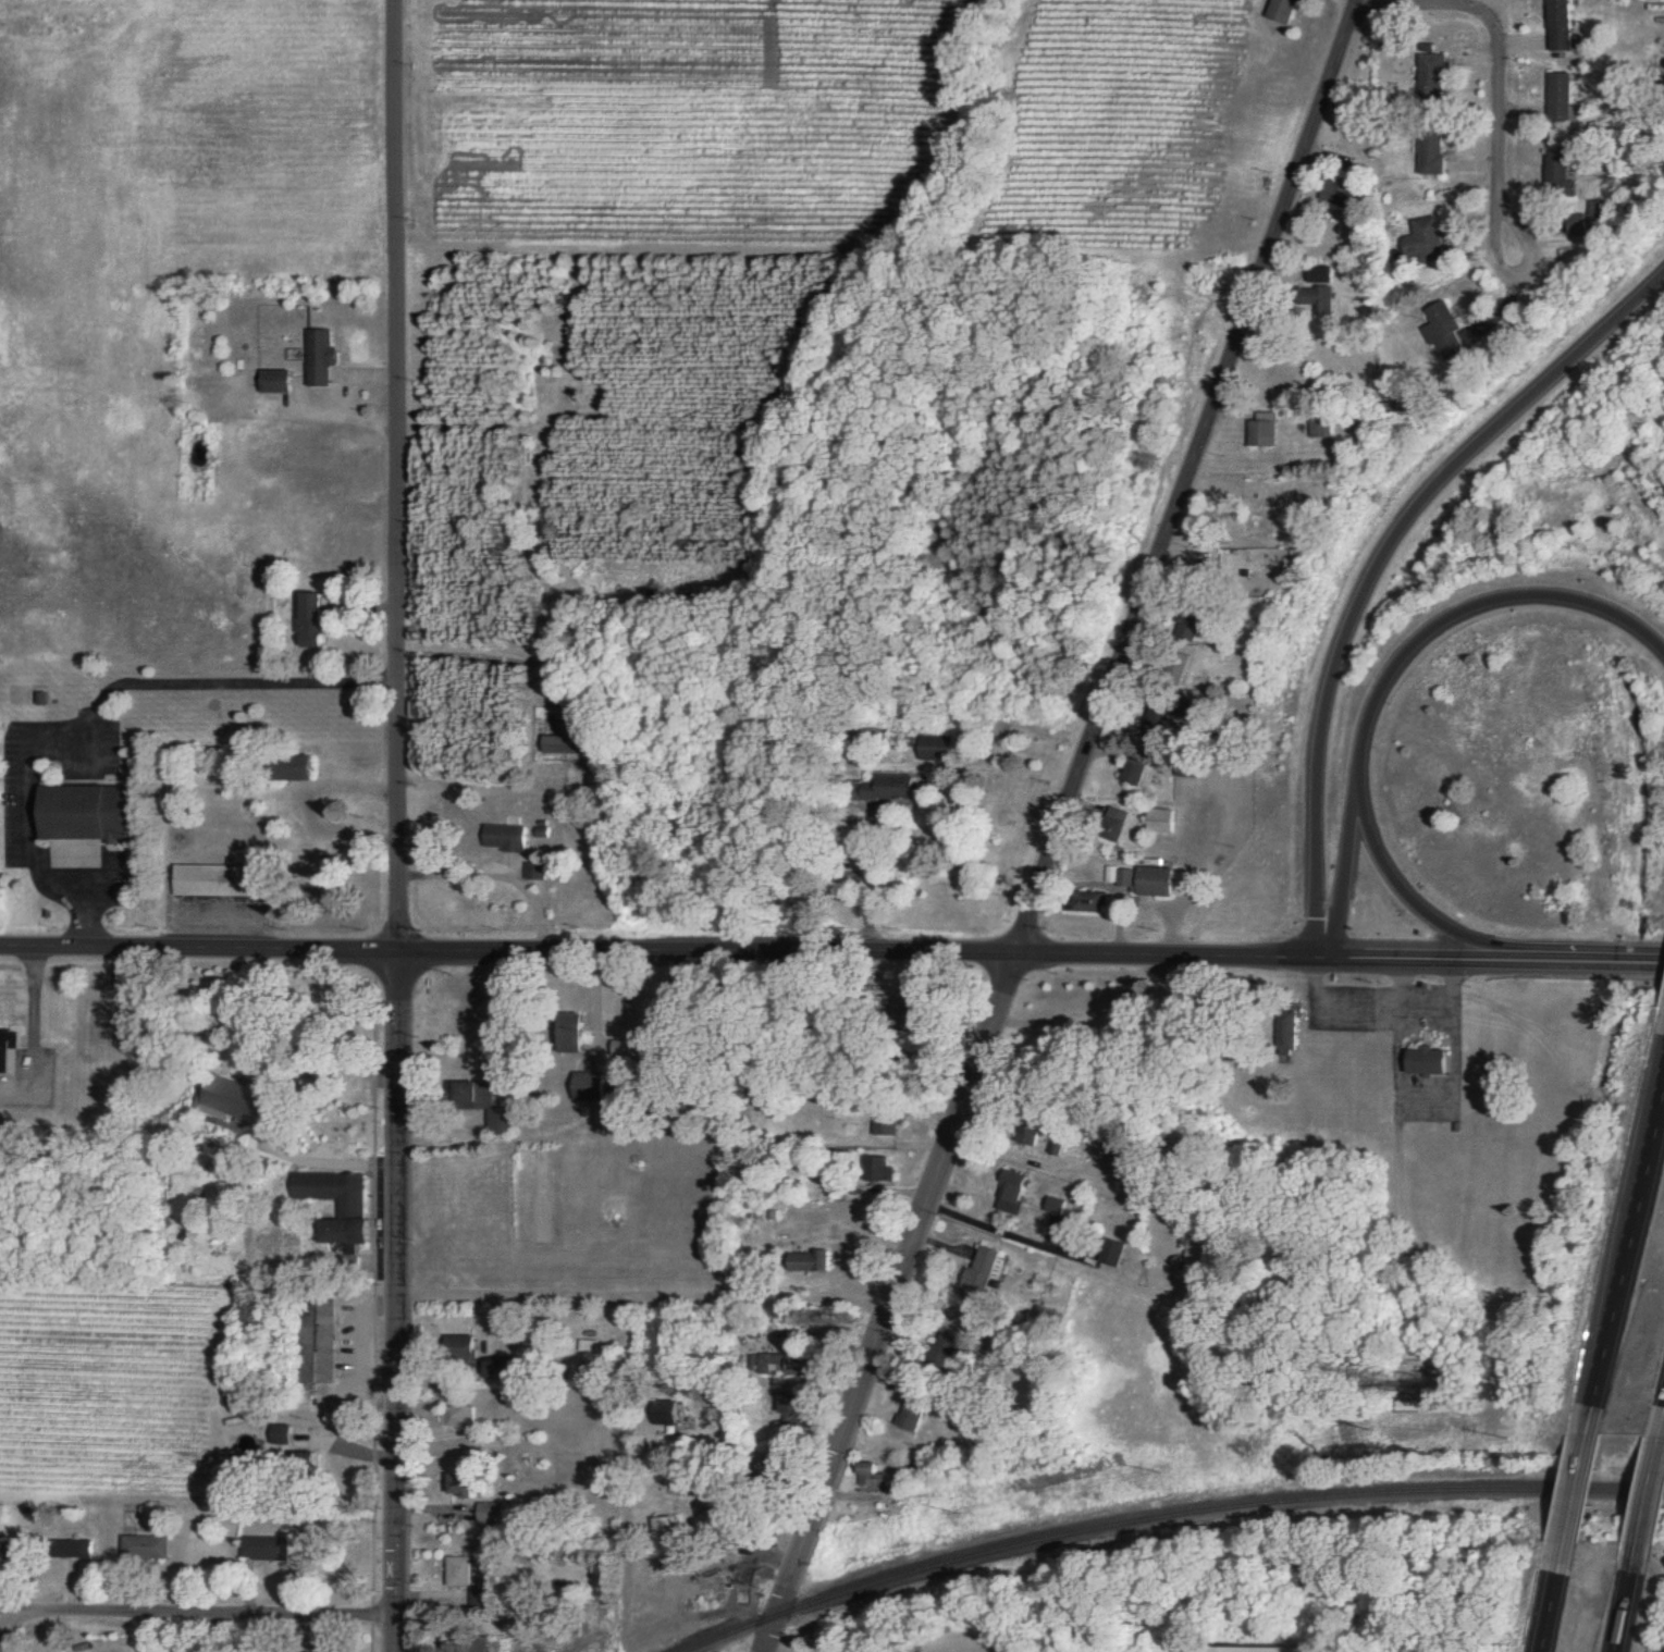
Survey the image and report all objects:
road: (1358, 0)
building: (1283, 10)
building: (1562, 26)
building: (1432, 72)
road: (1495, 95)
building: (1561, 95)
building: (1432, 153)
building: (1558, 167)
building: (1338, 195)
building: (1425, 239)
building: (1319, 274)
building: (1318, 299)
road: (1524, 299)
building: (1444, 331)
building: (320, 357)
building: (275, 381)
building: (1320, 428)
building: (1264, 430)
road: (1382, 558)
building: (315, 621)
road: (1375, 699)
road: (101, 702)
building: (570, 744)
building: (936, 748)
building: (1135, 772)
building: (89, 813)
road: (1060, 825)
building: (1117, 825)
road: (396, 826)
building: (542, 833)
building: (506, 838)
road: (1344, 863)
building: (1110, 874)
building: (1127, 878)
building: (218, 880)
building: (1155, 882)
building: (1092, 902)
road: (831, 952)
building: (575, 1032)
building: (8, 1049)
building: (1426, 1064)
building: (589, 1087)
building: (239, 1102)
building: (484, 1106)
building: (886, 1124)
building: (1056, 1146)
road: (320, 1158)
building: (879, 1169)
building: (1011, 1194)
building: (1056, 1206)
building: (338, 1207)
building: (1198, 1256)
road: (1626, 1259)
building: (809, 1261)
building: (982, 1274)
road: (643, 1308)
building: (319, 1343)
building: (461, 1347)
building: (942, 1353)
road: (359, 1355)
building: (768, 1364)
building: (790, 1403)
building: (664, 1414)
building: (911, 1414)
building: (457, 1416)
road: (1662, 1429)
building: (281, 1434)
building: (870, 1475)
building: (463, 1484)
road: (1577, 1490)
road: (1649, 1492)
building: (489, 1513)
railway: (1170, 1519)
building: (664, 1530)
building: (3, 1544)
building: (147, 1546)
building: (75, 1548)
building: (266, 1548)
building: (458, 1570)
road: (1554, 1598)
road: (1626, 1599)
road: (21, 1611)
road: (210, 1615)
building: (470, 1644)
building: (349, 1651)

